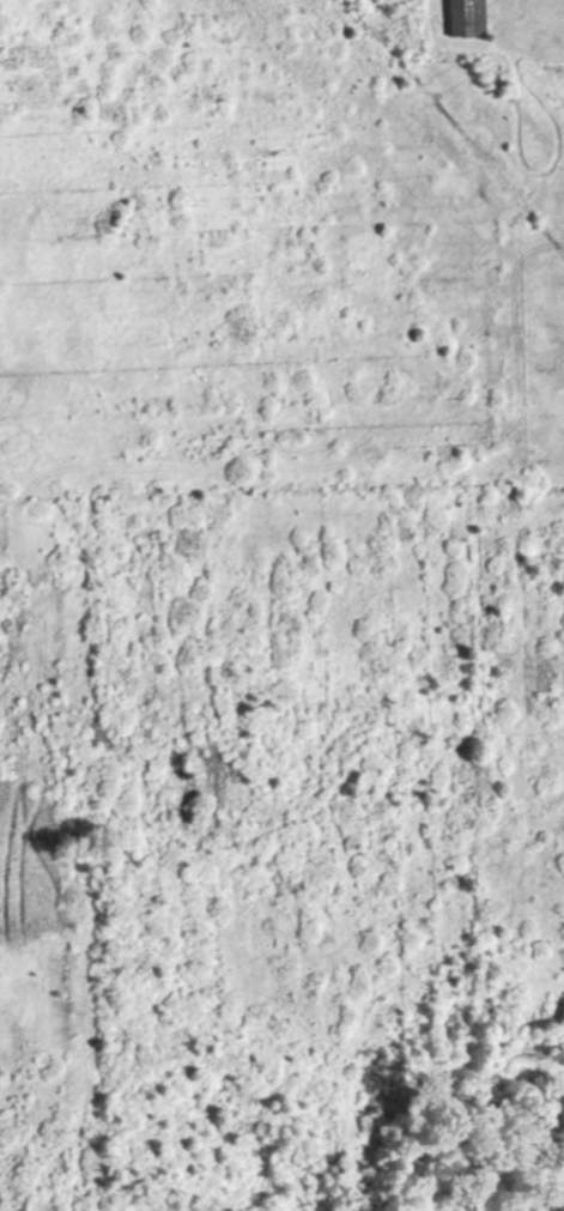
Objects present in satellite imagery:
building: (457, 17)

